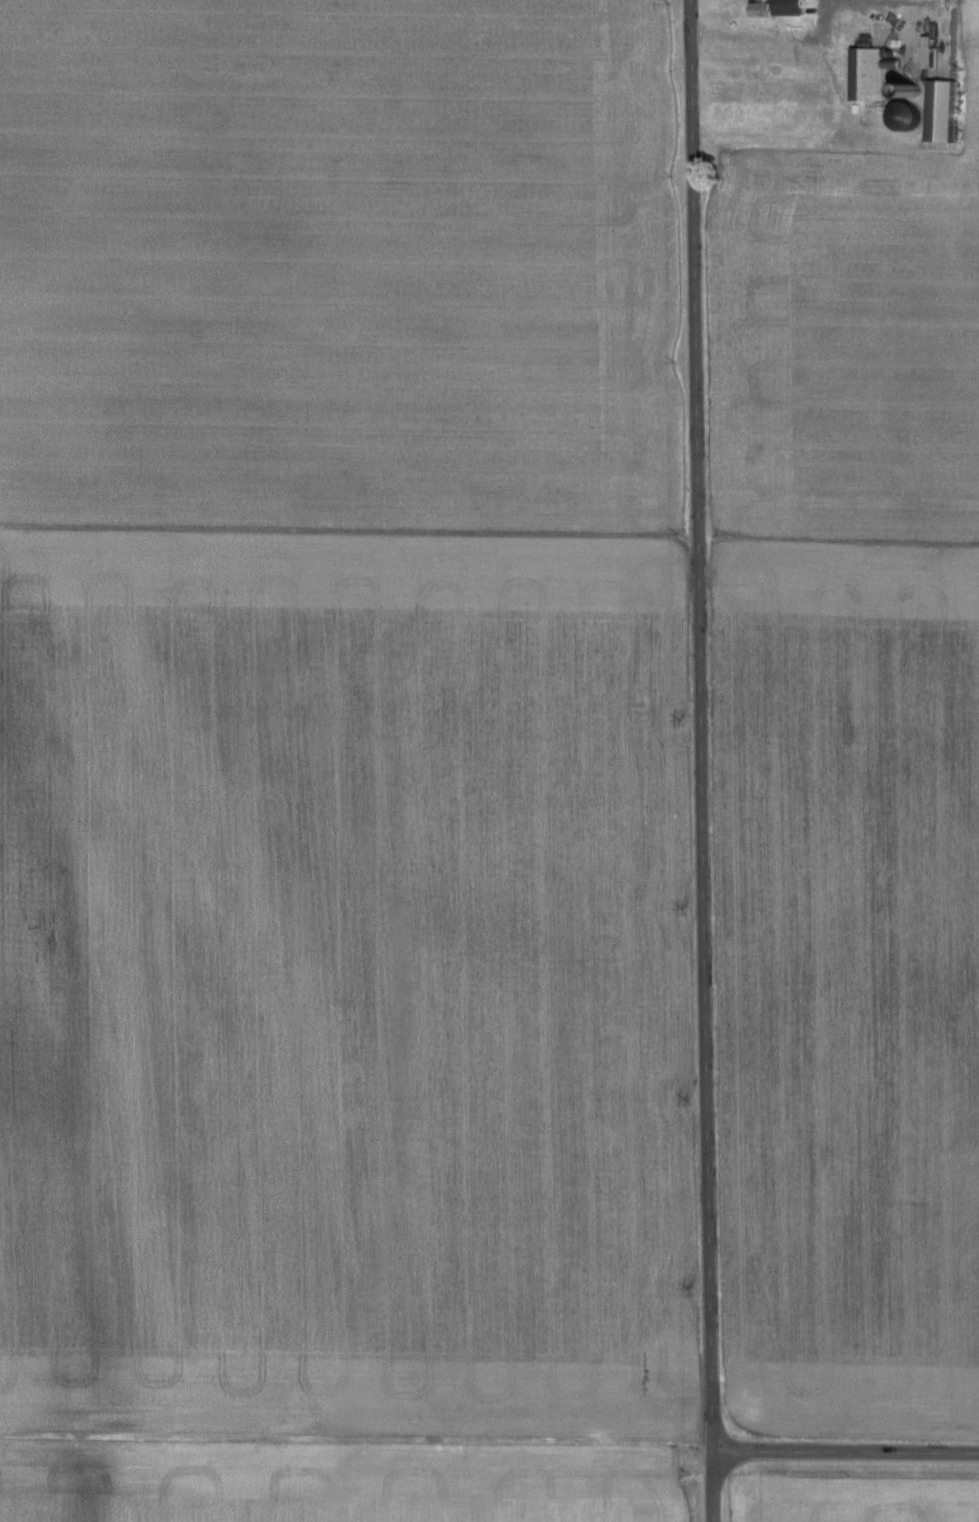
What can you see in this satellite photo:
building: (780, 8)
building: (854, 33)
building: (871, 75)
building: (941, 113)
building: (906, 118)
crop: (343, 261)
road: (701, 761)
crop: (850, 782)
crop: (346, 977)
road: (844, 1446)
crop: (856, 1499)

